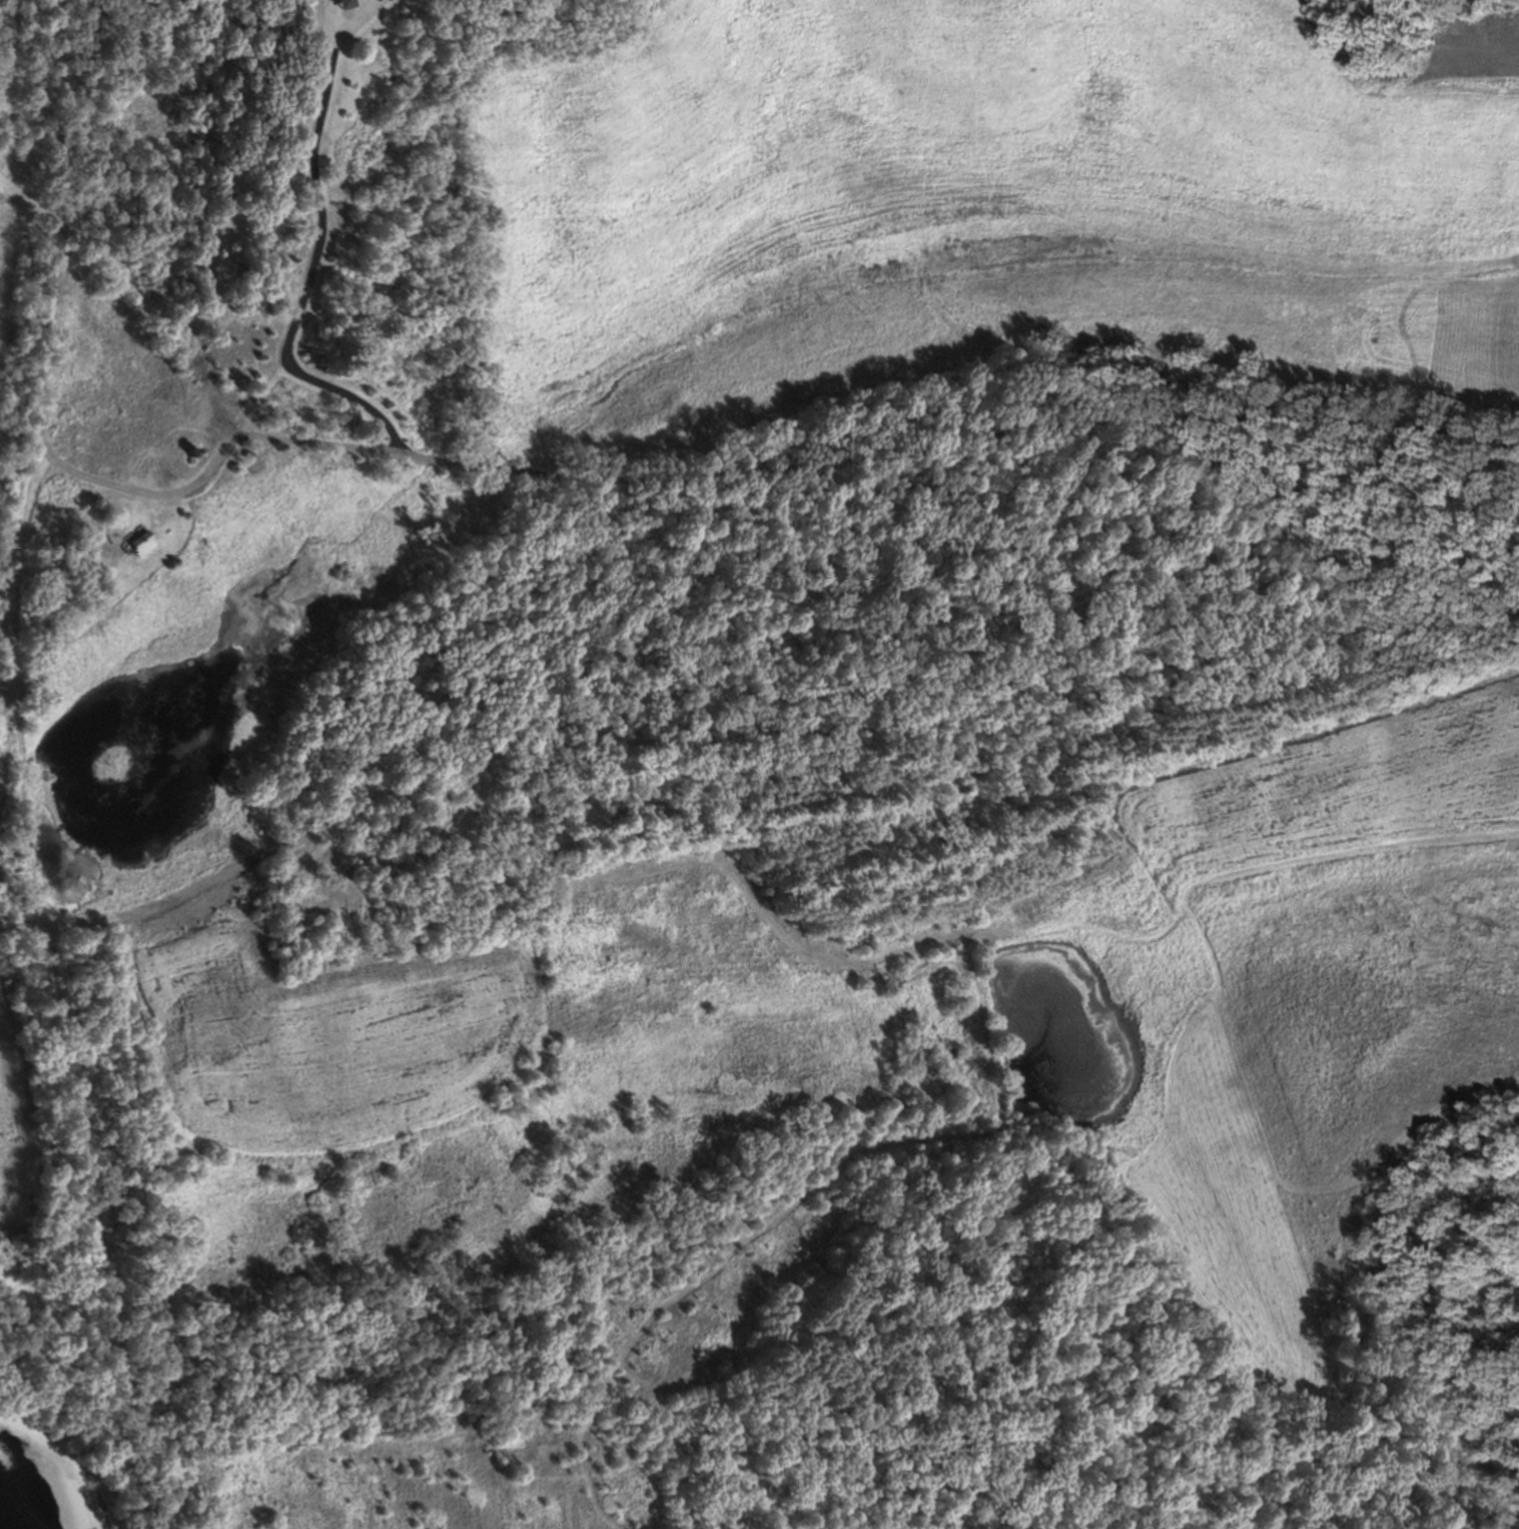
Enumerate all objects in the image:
building: (337, 3)
road: (69, 221)
road: (313, 254)
road: (961, 441)
road: (212, 462)
building: (126, 536)
road: (17, 692)
road: (306, 747)

